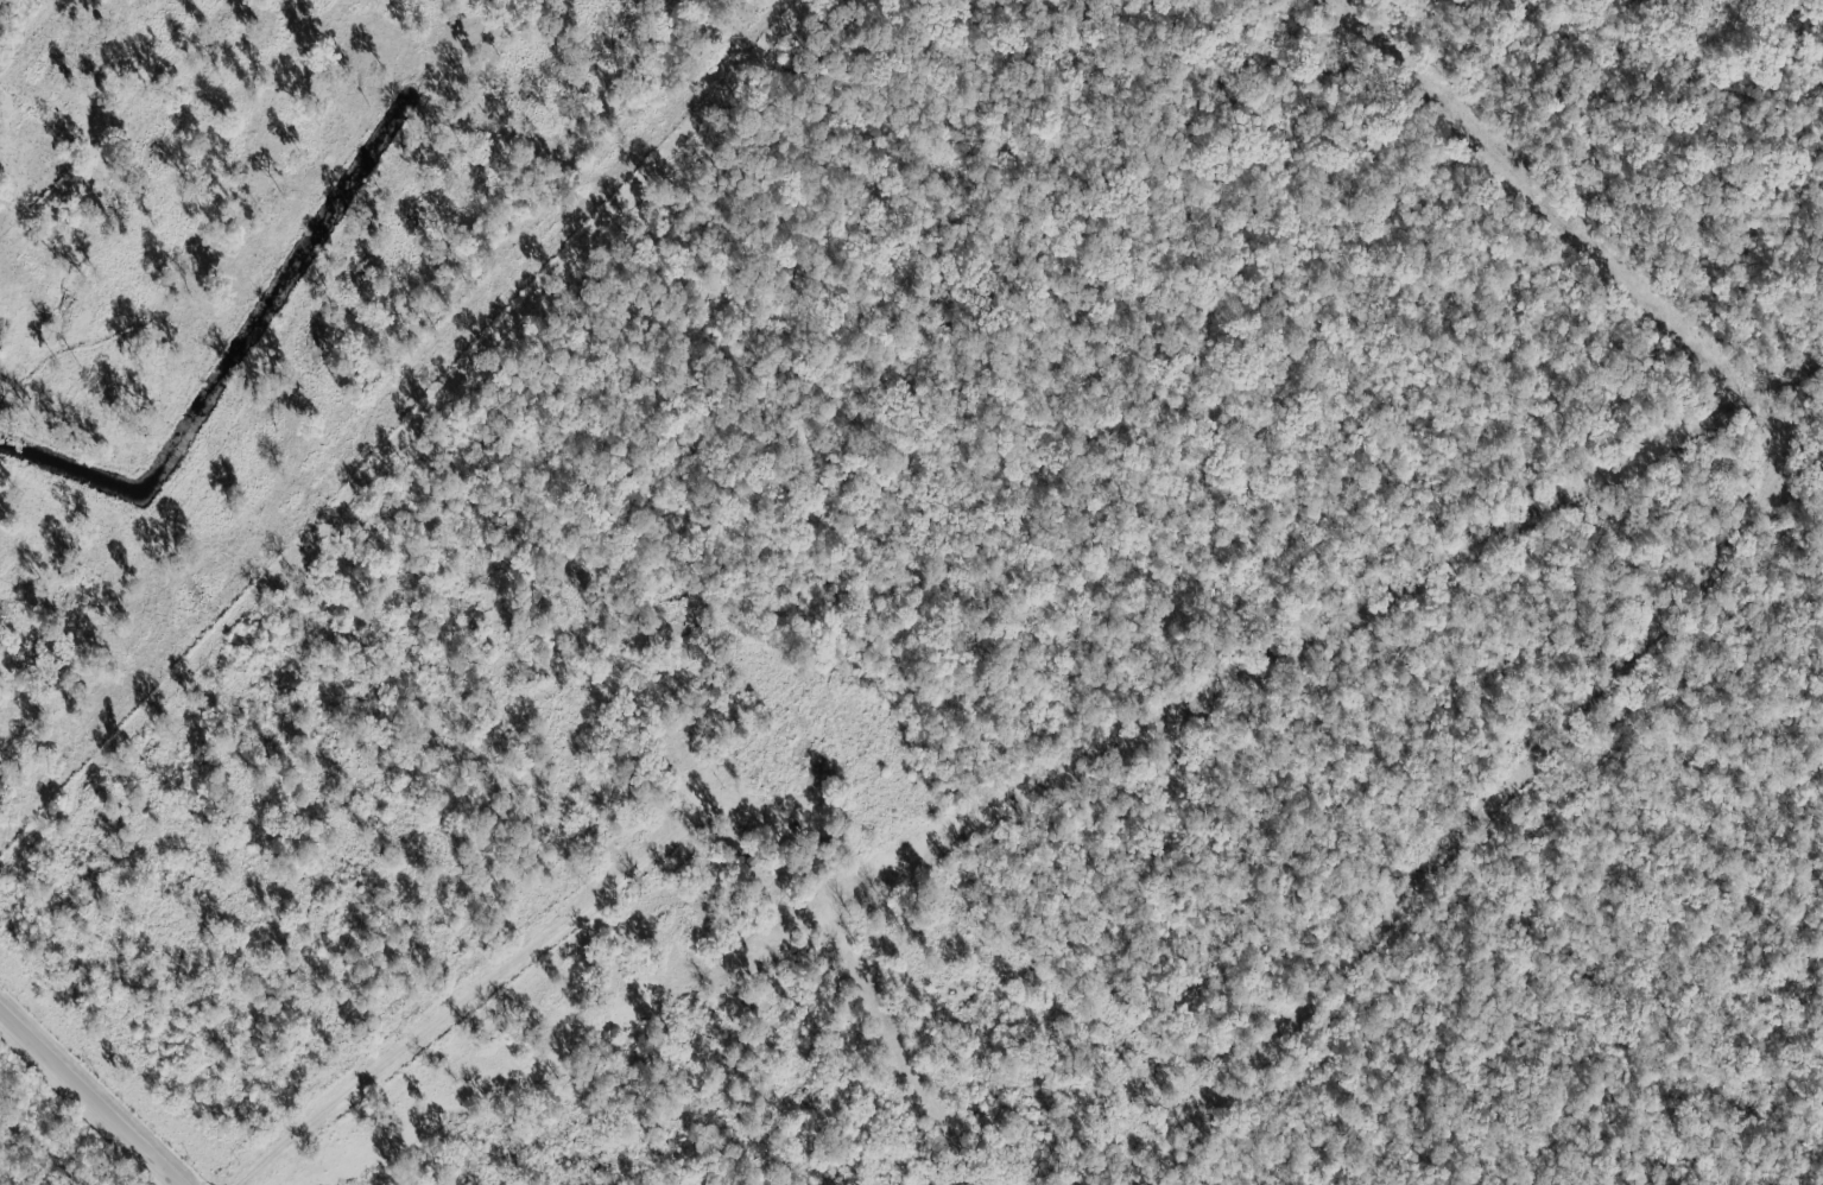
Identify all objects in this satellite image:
road: (90, 1096)

